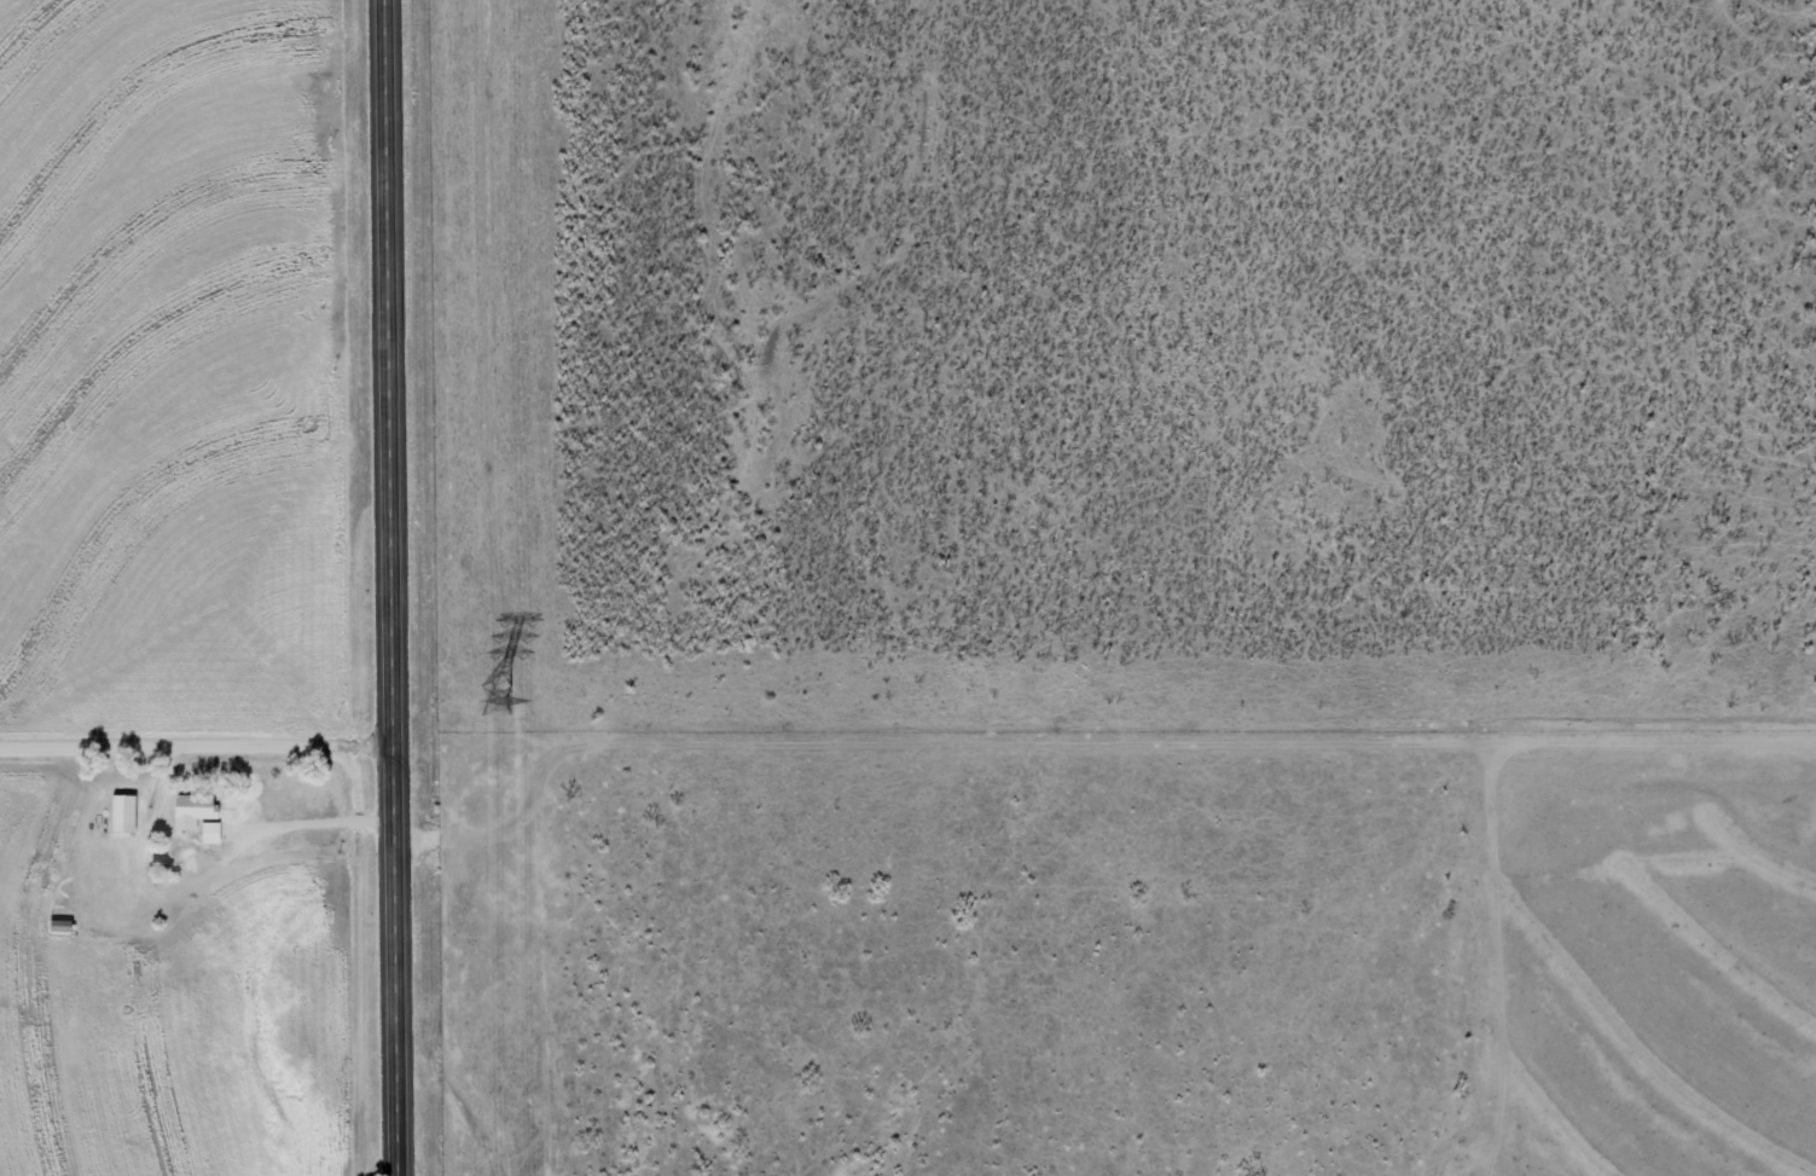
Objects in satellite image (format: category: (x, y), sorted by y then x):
road: (394, 587)
power tower: (493, 701)
road: (197, 741)
building: (196, 810)
building: (126, 813)
building: (213, 832)

